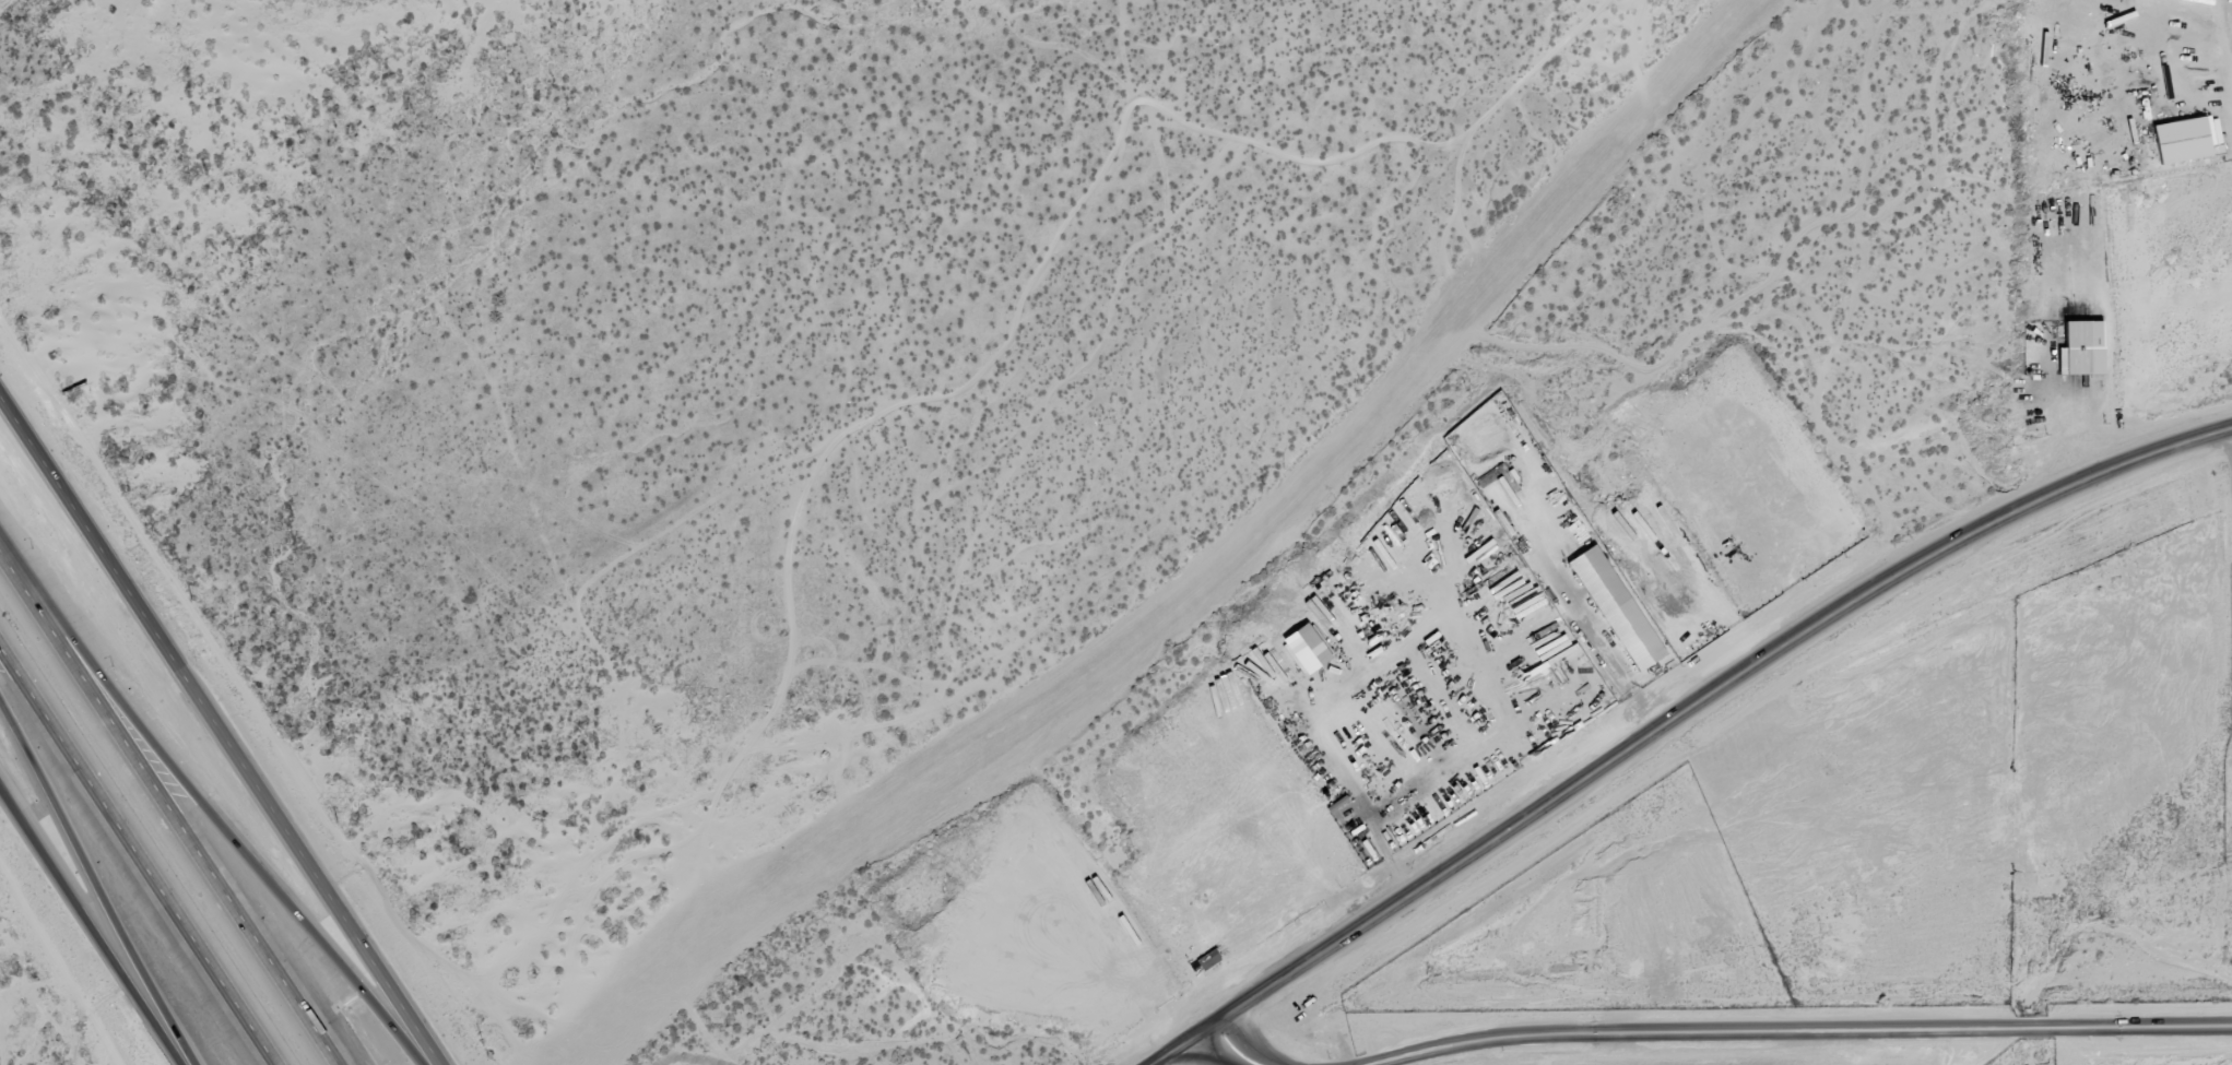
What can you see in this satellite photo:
building: (2175, 138)
building: (2070, 345)
building: (1611, 605)
road: (1676, 718)
road: (220, 730)
road: (202, 803)
road: (165, 810)
road: (135, 857)
road: (98, 884)
road: (90, 924)
road: (1790, 1022)
road: (1239, 1045)

